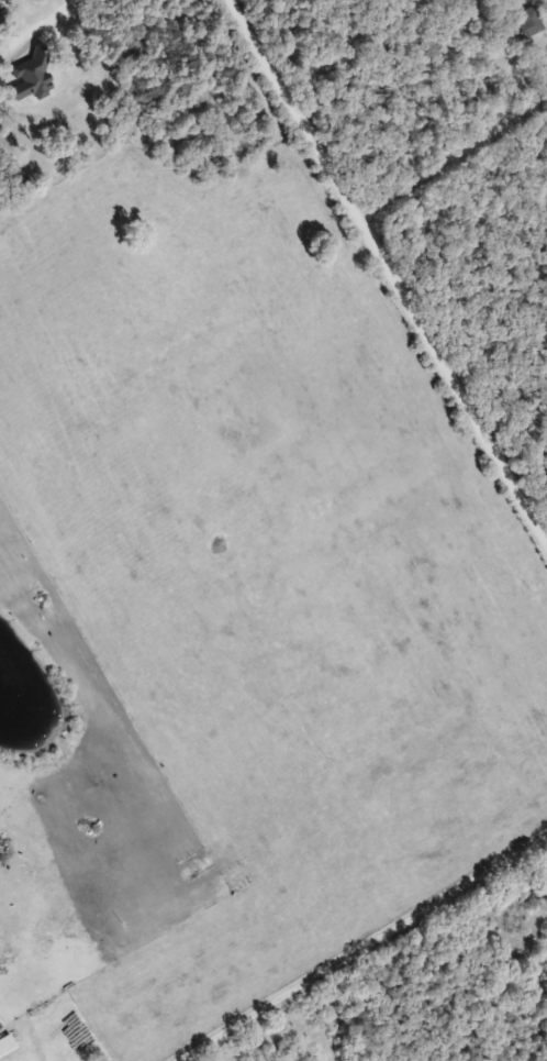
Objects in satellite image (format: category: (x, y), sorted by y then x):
building: (534, 19)
road: (391, 264)
road: (257, 626)

